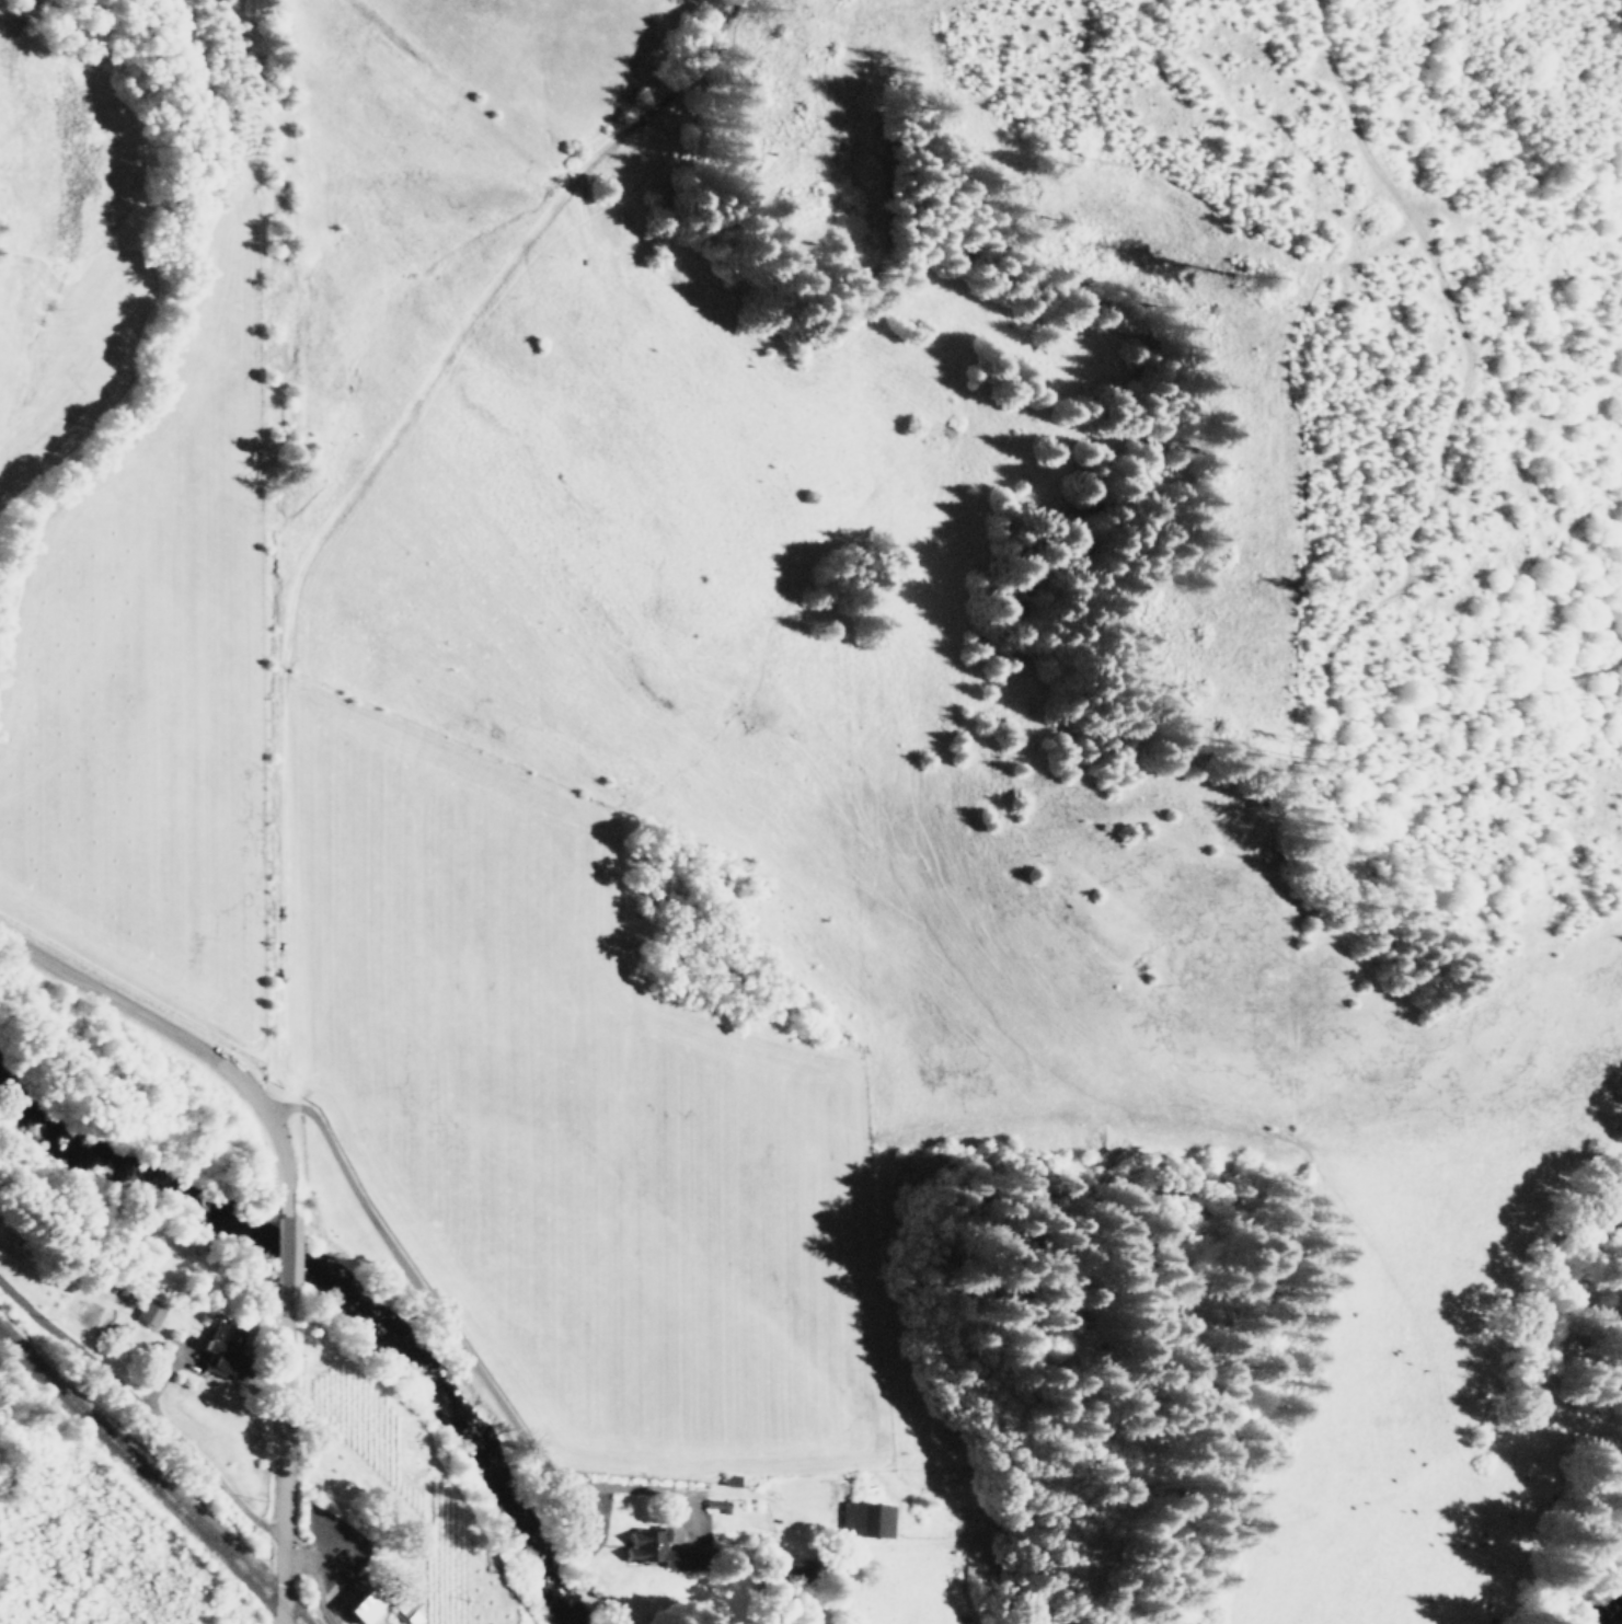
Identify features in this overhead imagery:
road: (168, 1038)
road: (281, 1254)
river: (341, 1286)
building: (149, 1312)
road: (459, 1344)
road: (74, 1345)
building: (221, 1351)
road: (186, 1448)
road: (278, 1470)
railway: (147, 1479)
building: (866, 1519)
building: (663, 1550)
building: (796, 1570)
road: (307, 1580)
building: (356, 1604)
building: (406, 1608)
river: (1613, 1613)

